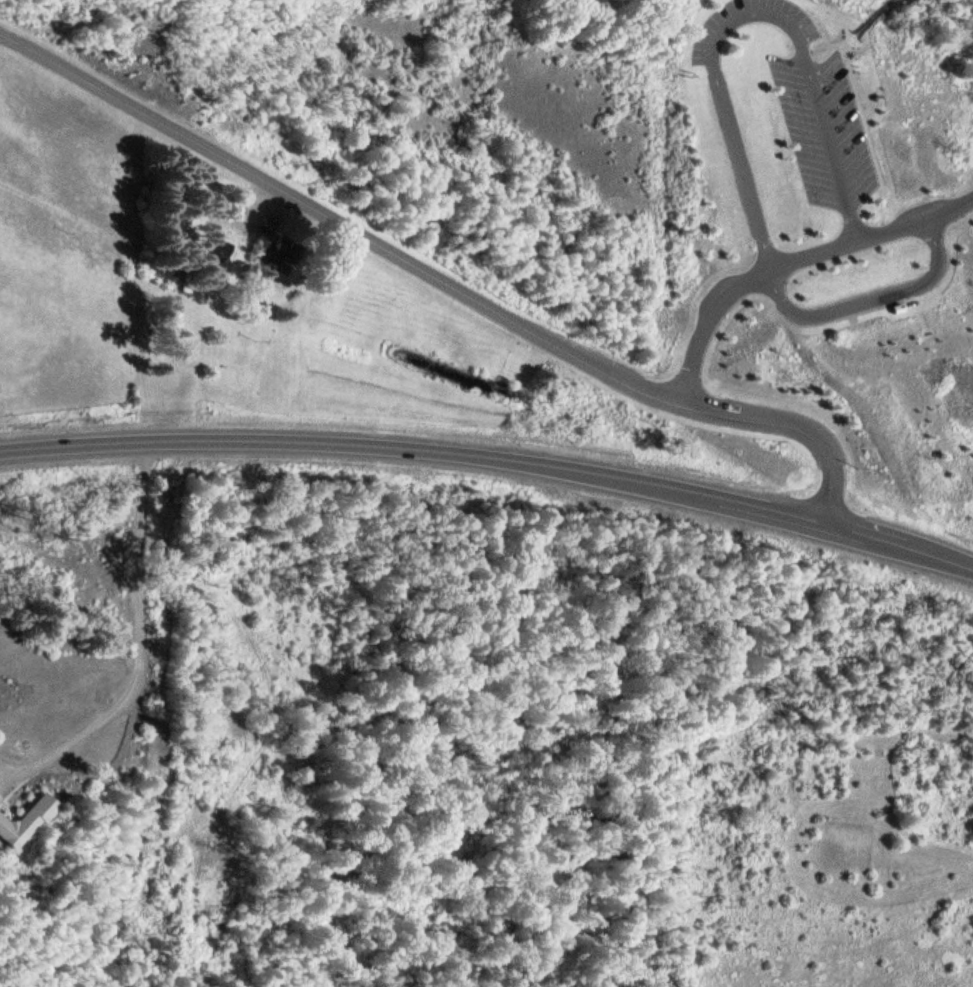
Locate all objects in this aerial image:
road: (744, 19)
road: (820, 28)
parking lot: (799, 30)
road: (847, 37)
building: (874, 95)
road: (869, 99)
road: (863, 117)
parking lot: (826, 132)
parking lot: (926, 210)
road: (791, 263)
road: (436, 280)
parking lot: (722, 295)
road: (866, 304)
building: (895, 306)
road: (871, 308)
road: (492, 461)
road: (144, 653)
building: (26, 823)

